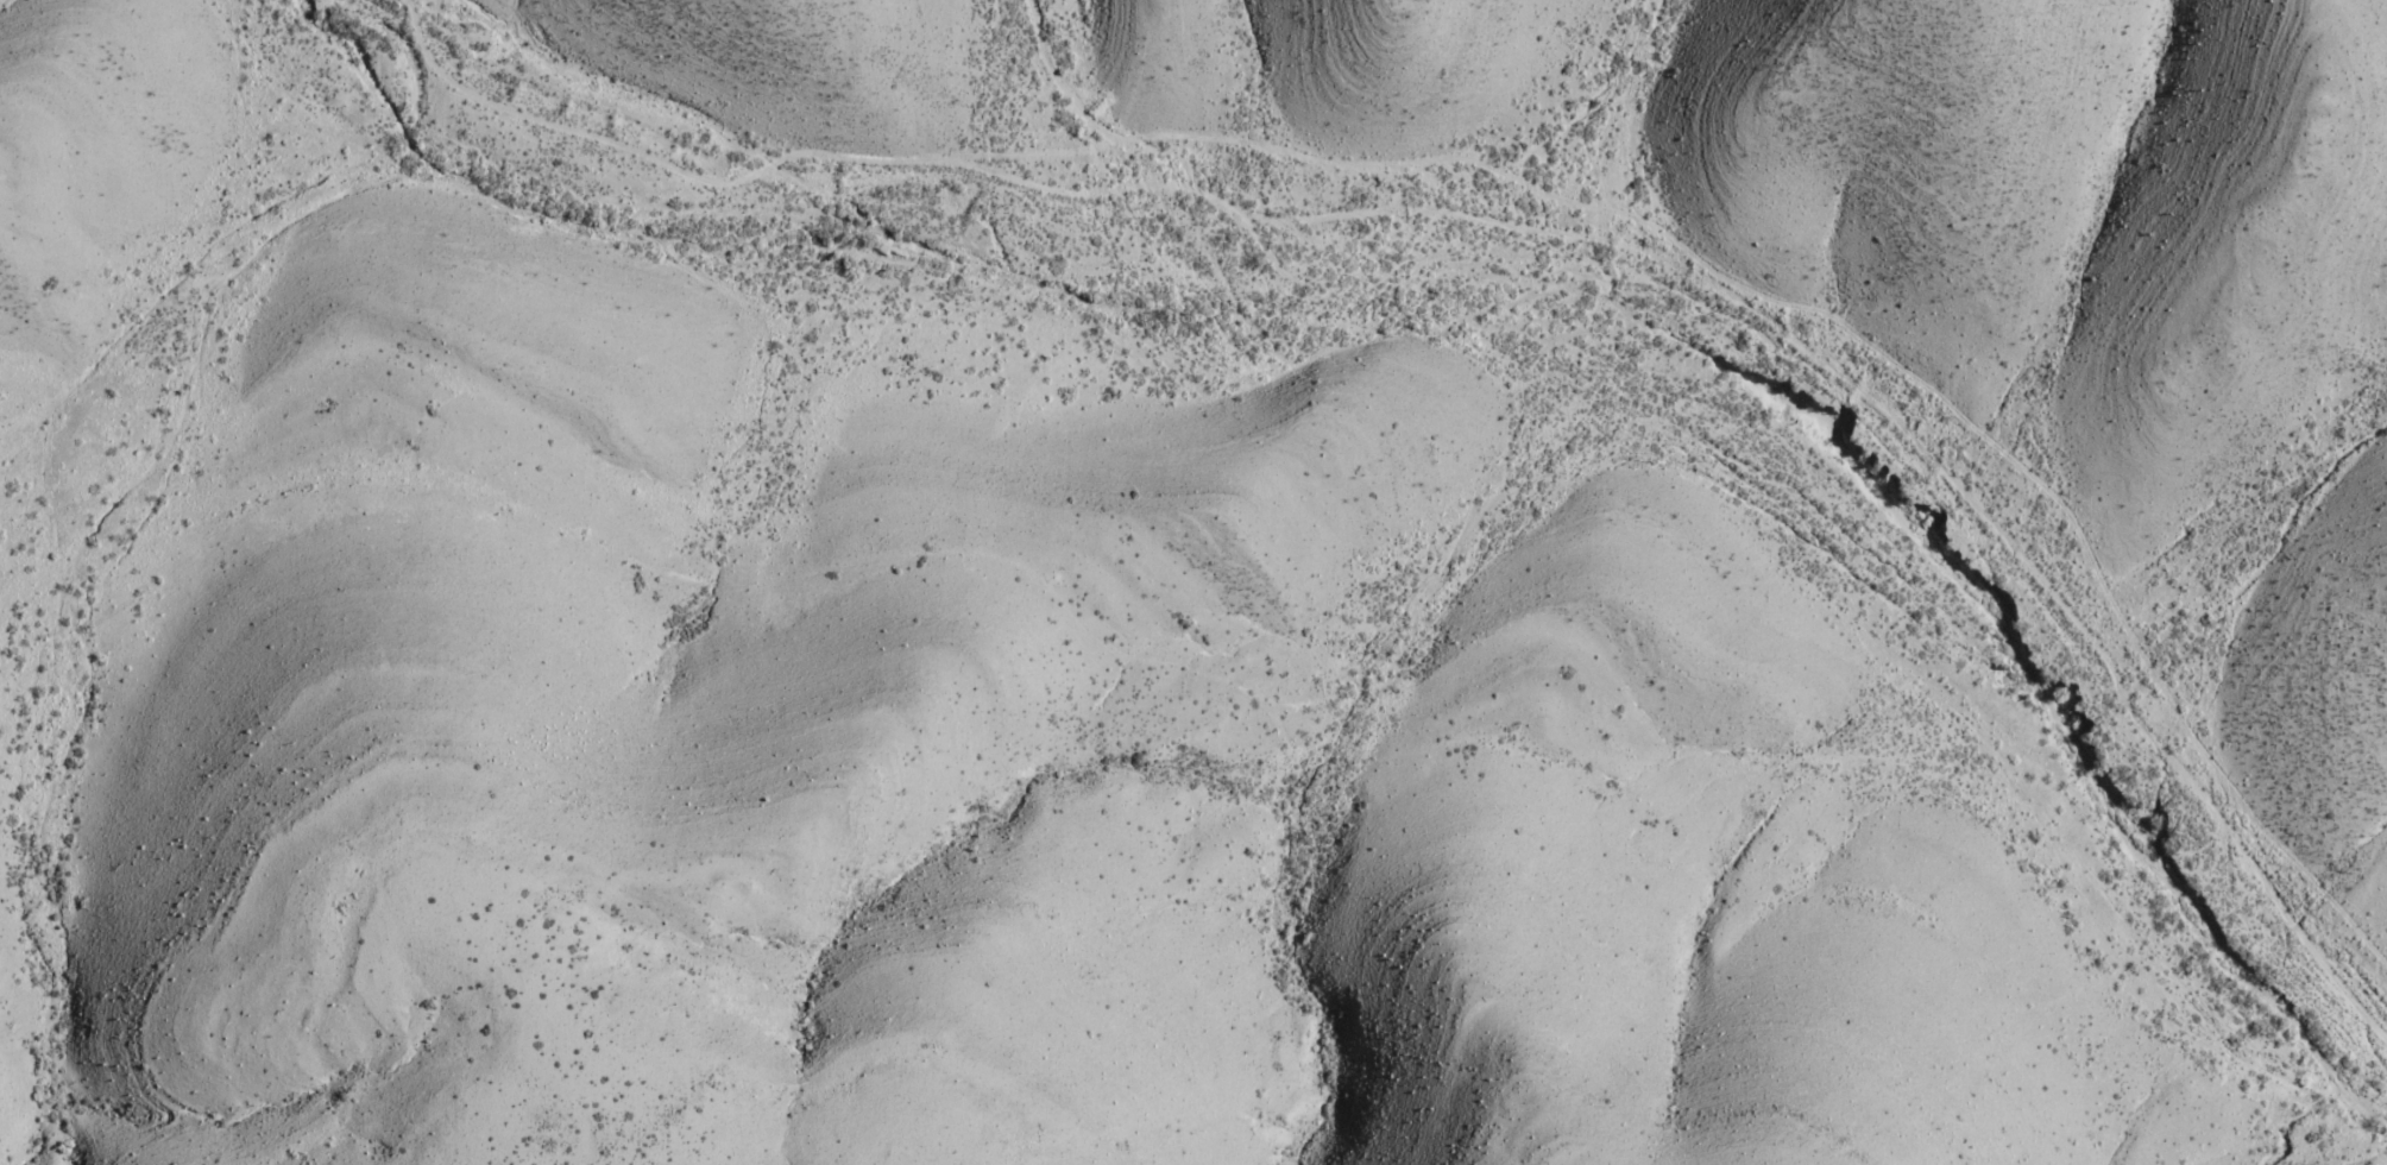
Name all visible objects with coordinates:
road: (1560, 283)

